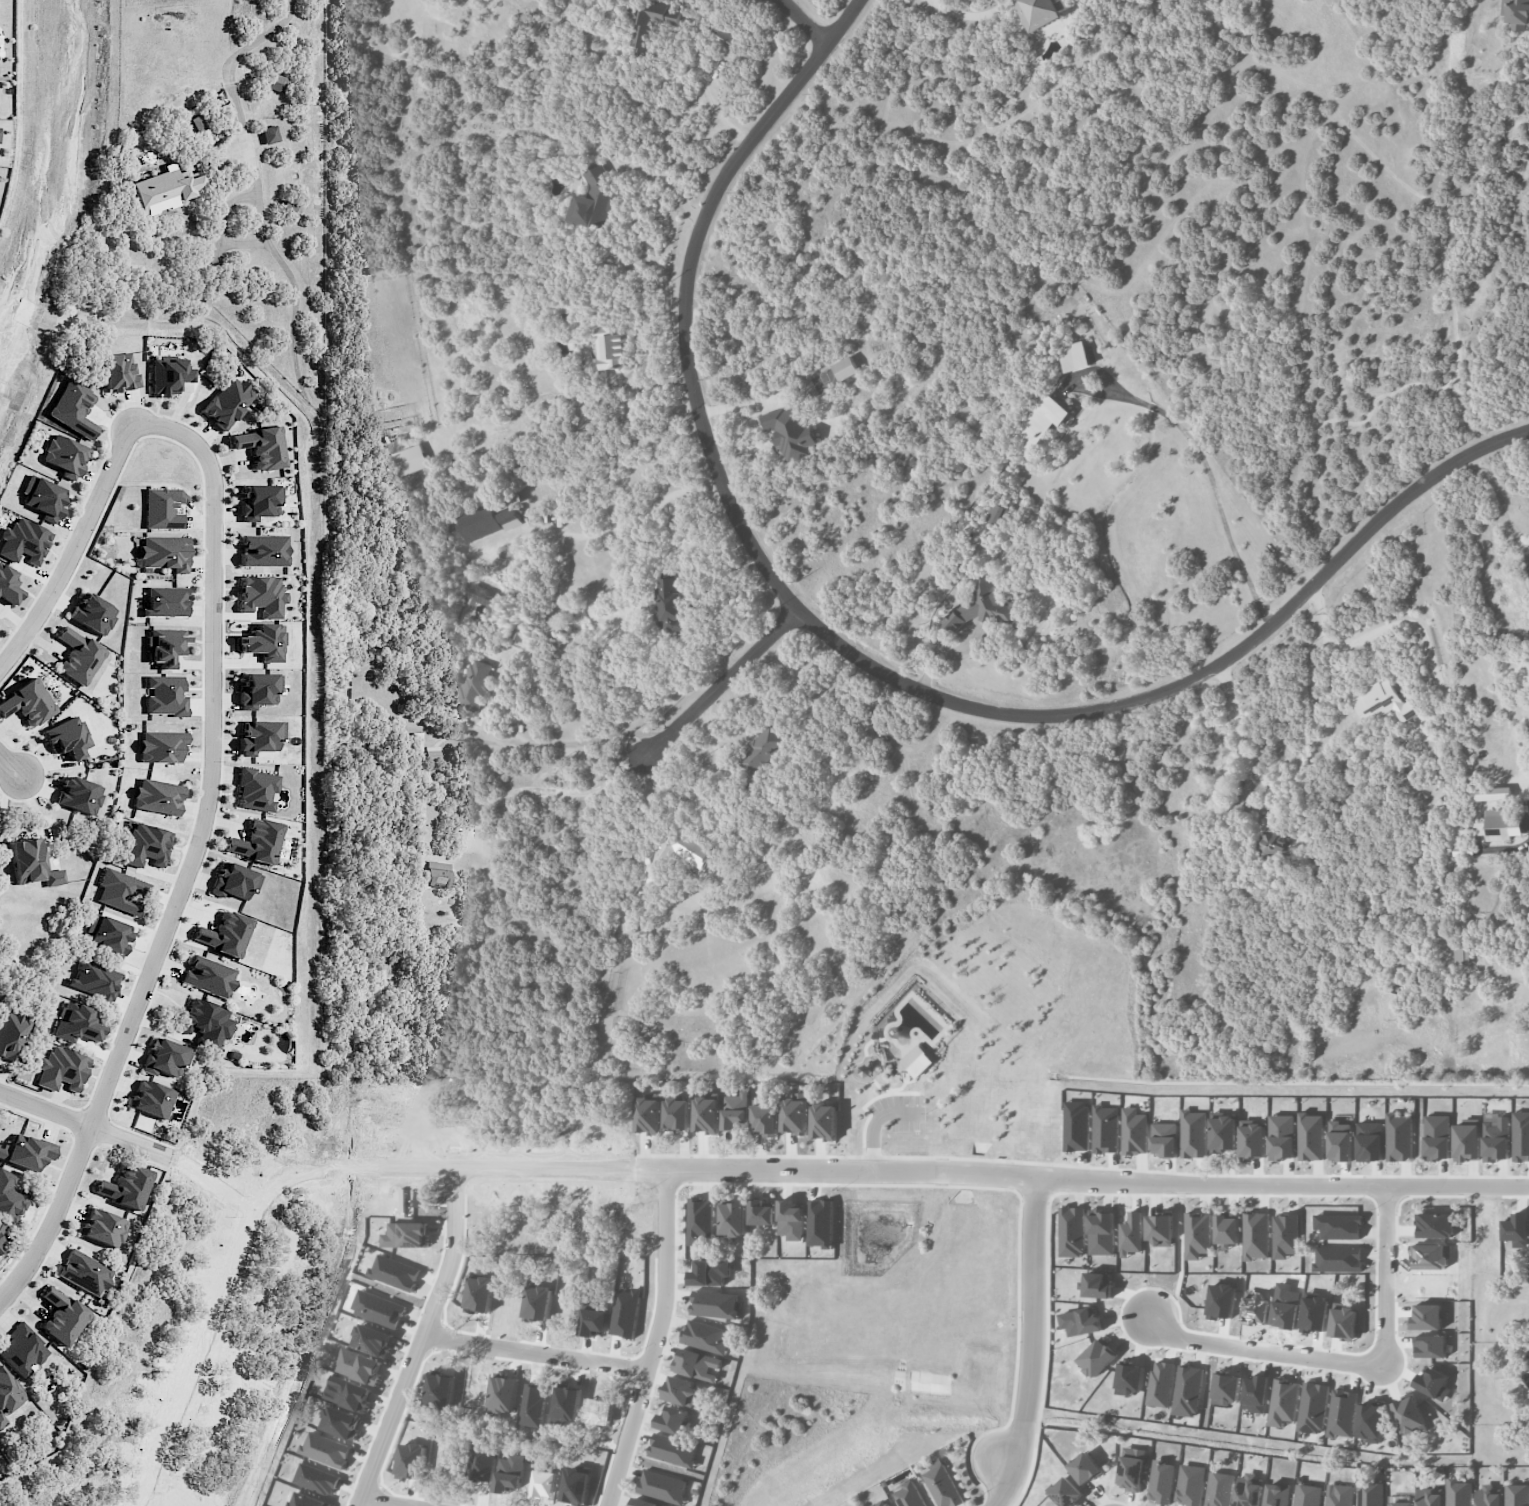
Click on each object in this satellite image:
building: (1042, 12)
building: (1516, 14)
road: (806, 22)
building: (651, 23)
road: (227, 67)
building: (277, 83)
road: (715, 109)
building: (201, 128)
building: (269, 134)
road: (665, 182)
building: (164, 189)
building: (595, 199)
building: (613, 347)
building: (1074, 356)
building: (845, 368)
building: (118, 372)
building: (167, 375)
building: (227, 402)
building: (73, 408)
building: (1042, 422)
building: (791, 431)
building: (261, 447)
building: (64, 456)
building: (408, 460)
road: (1213, 482)
building: (43, 497)
building: (260, 502)
building: (163, 508)
building: (998, 515)
building: (509, 519)
building: (479, 522)
building: (24, 541)
building: (264, 550)
road: (74, 551)
building: (164, 552)
building: (8, 586)
building: (261, 594)
building: (481, 595)
building: (164, 602)
building: (671, 605)
building: (980, 606)
building: (92, 613)
road: (1397, 624)
building: (264, 642)
building: (164, 646)
building: (78, 656)
road: (860, 660)
road: (720, 684)
building: (259, 689)
building: (471, 689)
building: (165, 696)
building: (1382, 702)
building: (27, 703)
building: (261, 736)
building: (66, 738)
building: (161, 746)
building: (762, 749)
building: (431, 752)
road: (12, 768)
road: (1248, 768)
building: (256, 789)
building: (1490, 793)
building: (79, 795)
building: (157, 797)
building: (1500, 824)
building: (1459, 830)
building: (257, 841)
building: (1272, 844)
building: (145, 845)
building: (675, 852)
road: (197, 856)
building: (31, 864)
building: (434, 874)
building: (235, 881)
building: (120, 891)
building: (224, 934)
building: (106, 935)
building: (1462, 954)
building: (208, 976)
building: (92, 980)
building: (205, 1022)
building: (74, 1023)
building: (11, 1034)
building: (164, 1058)
building: (916, 1061)
building: (60, 1069)
road: (893, 1089)
road: (892, 1091)
building: (150, 1099)
road: (864, 1105)
building: (736, 1110)
parking lot: (897, 1111)
building: (648, 1114)
building: (677, 1114)
building: (707, 1115)
building: (795, 1115)
building: (765, 1119)
road: (876, 1121)
building: (824, 1122)
road: (87, 1125)
building: (1076, 1125)
building: (1105, 1129)
building: (1134, 1131)
building: (1223, 1133)
building: (1194, 1134)
building: (1521, 1136)
building: (1282, 1137)
building: (1311, 1137)
building: (1399, 1137)
building: (1437, 1137)
building: (1164, 1138)
building: (1252, 1140)
building: (1496, 1140)
building: (1340, 1141)
building: (1370, 1141)
building: (1466, 1142)
building: (26, 1152)
road: (828, 1156)
road: (872, 1157)
road: (993, 1160)
road: (1010, 1175)
road: (1081, 1179)
road: (282, 1183)
road: (216, 1184)
building: (125, 1186)
building: (10, 1198)
road: (1033, 1201)
building: (761, 1213)
building: (733, 1219)
building: (700, 1220)
building: (1435, 1225)
building: (1339, 1226)
building: (102, 1228)
building: (1227, 1228)
building: (1, 1229)
building: (1160, 1229)
building: (1516, 1229)
building: (1071, 1231)
building: (1101, 1232)
building: (1131, 1234)
building: (1197, 1235)
building: (1256, 1235)
building: (1285, 1235)
building: (1, 1246)
building: (1339, 1259)
building: (83, 1272)
building: (709, 1272)
road: (1018, 1272)
road: (1389, 1278)
building: (1098, 1284)
building: (714, 1304)
building: (61, 1316)
road: (1034, 1322)
building: (1082, 1322)
building: (1344, 1322)
road: (1046, 1327)
building: (705, 1336)
road: (421, 1340)
road: (654, 1340)
building: (1430, 1346)
building: (21, 1350)
road: (1266, 1350)
road: (535, 1352)
building: (1097, 1357)
building: (697, 1364)
building: (1161, 1383)
building: (1227, 1388)
building: (679, 1390)
building: (1188, 1391)
building: (1256, 1393)
building: (7, 1394)
building: (1284, 1402)
building: (1313, 1407)
building: (1342, 1413)
building: (1408, 1414)
building: (671, 1418)
building: (1371, 1422)
building: (673, 1451)
road: (1005, 1462)
building: (1085, 1468)
building: (1132, 1468)
building: (1161, 1481)
building: (941, 1484)
building: (1190, 1485)
building: (662, 1486)
road: (1006, 1486)
building: (1219, 1489)
building: (1066, 1492)
building: (1371, 1492)
building: (1458, 1492)
building: (908, 1494)
building: (1277, 1494)
building: (1307, 1495)
building: (1339, 1495)
building: (1517, 1495)
building: (1488, 1496)
building: (1430, 1497)
road: (385, 1502)
building: (645, 1502)
building: (882, 1503)
building: (1401, 1504)

